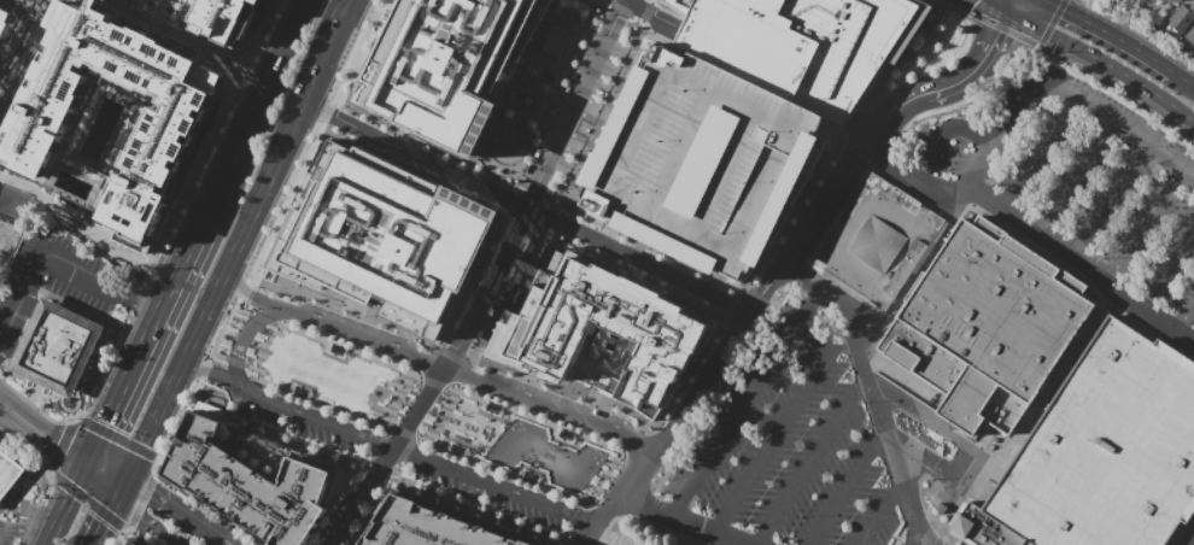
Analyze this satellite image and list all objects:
building: (1170, 0)
road: (601, 1)
road: (608, 1)
road: (30, 5)
road: (40, 5)
road: (946, 5)
road: (995, 6)
road: (1012, 6)
road: (1018, 6)
road: (648, 10)
road: (959, 10)
traffic signals: (1063, 10)
road: (625, 11)
road: (656, 12)
building: (1181, 18)
building: (5, 19)
building: (228, 19)
road: (1050, 23)
road: (158, 27)
road: (1000, 28)
traffic signals: (1000, 31)
road: (1107, 33)
building: (1190, 35)
road: (22, 42)
building: (802, 45)
road: (356, 53)
fountain: (226, 59)
building: (443, 60)
road: (1105, 63)
road: (769, 66)
road: (926, 66)
road: (1182, 77)
road: (948, 87)
road: (1119, 89)
road: (551, 95)
road: (1061, 95)
fountain: (528, 99)
road: (251, 107)
road: (521, 109)
road: (327, 113)
road: (603, 116)
road: (860, 131)
road: (946, 131)
building: (168, 137)
fountain: (507, 145)
road: (476, 150)
road: (1037, 154)
road: (498, 157)
building: (701, 165)
parking lot: (701, 165)
road: (414, 168)
parking lot: (371, 172)
parking lot: (1088, 174)
road: (463, 176)
road: (1076, 176)
road: (537, 184)
road: (286, 199)
road: (801, 199)
road: (1111, 199)
road: (511, 201)
road: (539, 201)
road: (829, 204)
road: (527, 207)
road: (528, 223)
road: (556, 223)
road: (1145, 224)
road: (82, 229)
building: (385, 230)
road: (1038, 230)
road: (5, 240)
parking lot: (7, 240)
building: (876, 240)
road: (236, 244)
road: (651, 247)
road: (54, 265)
road: (1166, 270)
parking lot: (53, 276)
road: (242, 289)
road: (247, 294)
road: (511, 300)
road: (730, 303)
road: (234, 304)
road: (1183, 317)
building: (987, 324)
building: (608, 326)
road: (140, 338)
road: (244, 338)
road: (361, 338)
road: (414, 339)
road: (263, 345)
building: (55, 347)
road: (451, 353)
road: (722, 361)
road: (427, 362)
road: (257, 369)
road: (211, 371)
park: (330, 375)
road: (687, 379)
road: (873, 392)
road: (397, 399)
road: (446, 399)
road: (748, 400)
road: (7, 406)
road: (419, 409)
road: (551, 412)
road: (1025, 421)
traffic signals: (100, 422)
road: (178, 422)
parking lot: (295, 427)
road: (784, 428)
parking lot: (789, 440)
road: (964, 444)
traffic signals: (55, 445)
park: (519, 445)
road: (604, 447)
road: (65, 451)
building: (1100, 453)
road: (414, 457)
road: (813, 461)
building: (11, 474)
building: (253, 479)
road: (371, 480)
road: (962, 485)
road: (848, 486)
road: (125, 488)
road: (627, 490)
traffic signals: (152, 491)
parking lot: (485, 497)
road: (62, 503)
building: (941, 508)
road: (586, 510)
road: (181, 511)
road: (882, 511)
road: (107, 515)
road: (687, 517)
traffic signals: (104, 522)
road: (150, 522)
building: (429, 526)
road: (339, 528)
road: (23, 529)
parking lot: (6, 532)
road: (586, 533)
road: (690, 533)
building: (134, 543)
road: (919, 543)
road: (923, 543)
parking lot: (943, 544)
road: (1193, 544)

